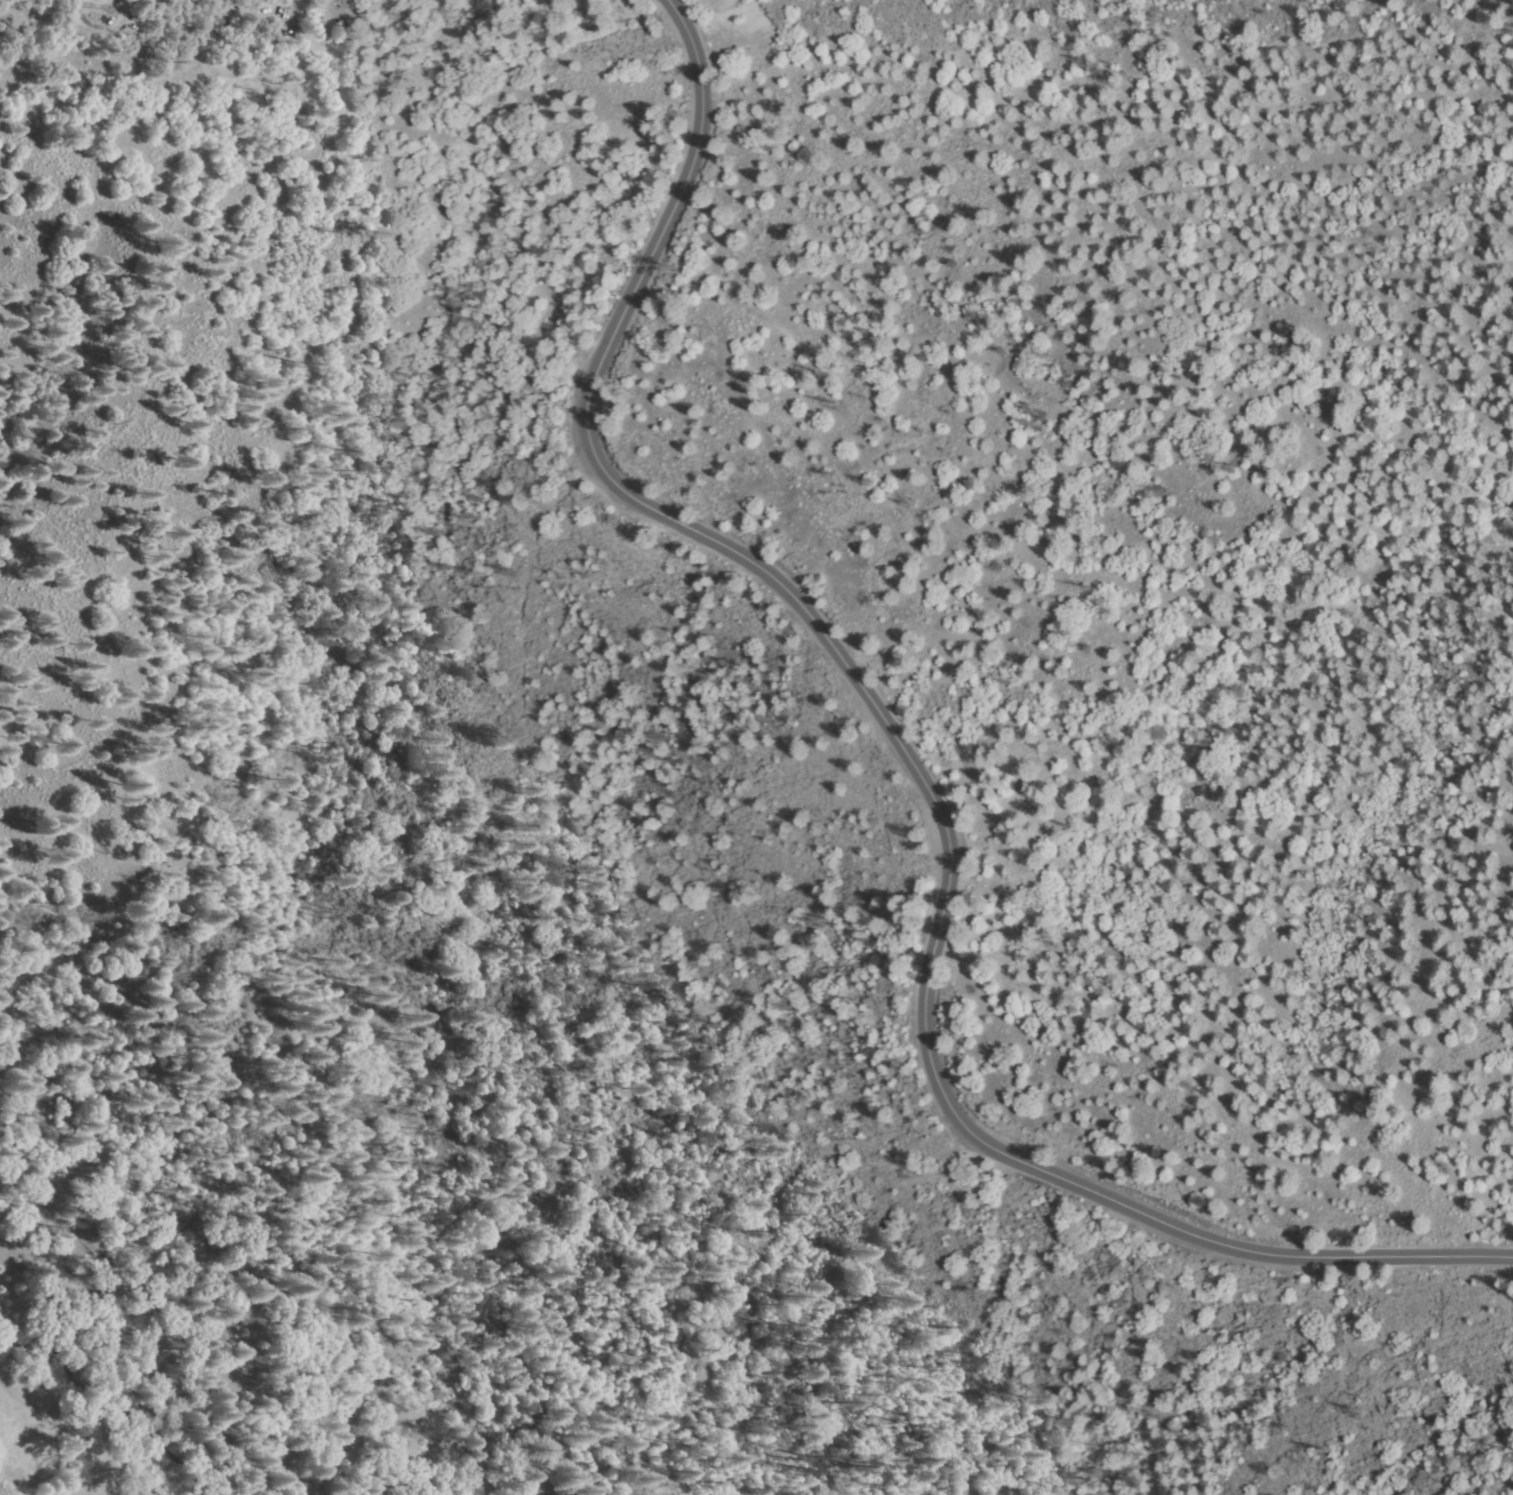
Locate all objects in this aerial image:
road: (906, 774)

